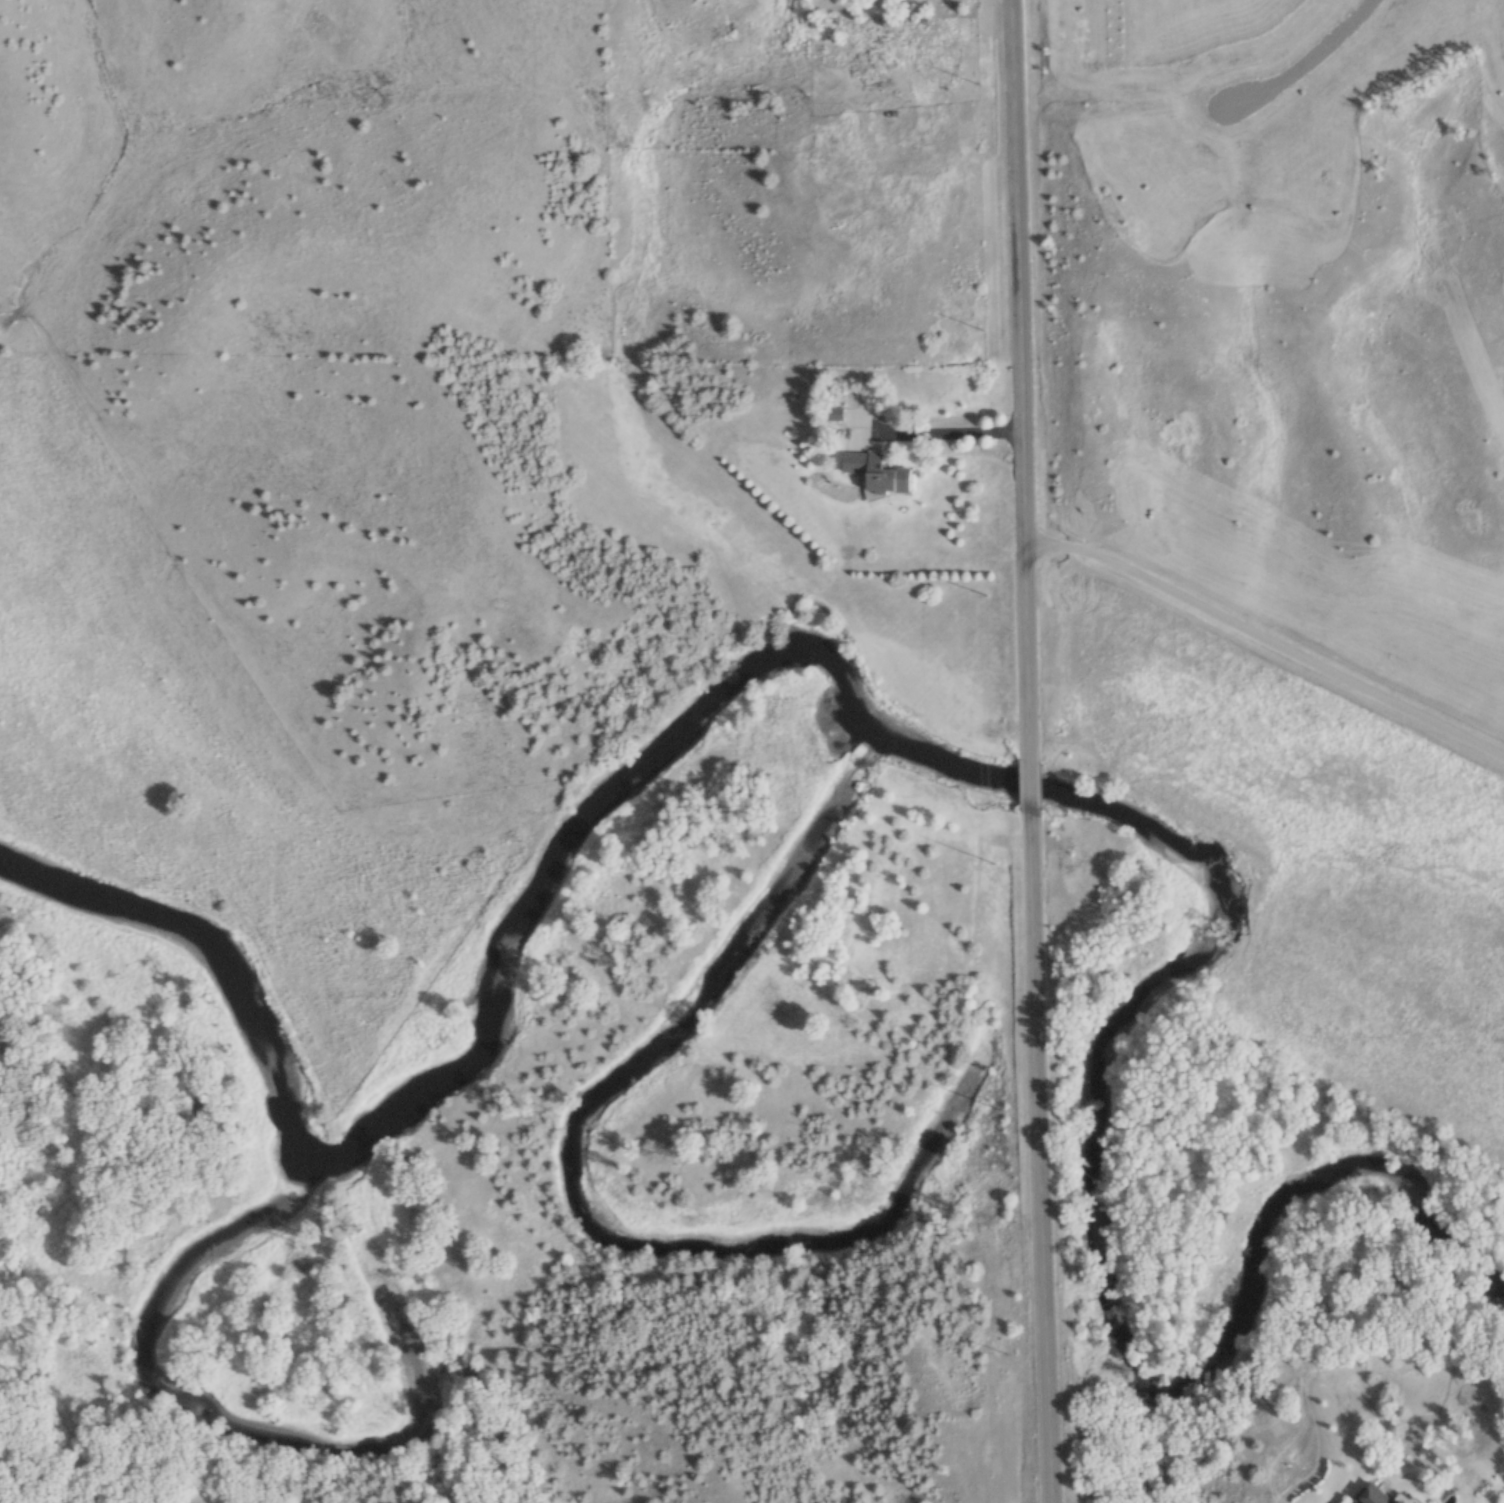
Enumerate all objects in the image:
building: (899, 21)
road: (1304, 60)
road: (1019, 379)
road: (948, 430)
building: (887, 475)
road: (1267, 639)
river: (919, 754)
road: (1025, 785)
road: (1037, 1157)
building: (1366, 1496)

